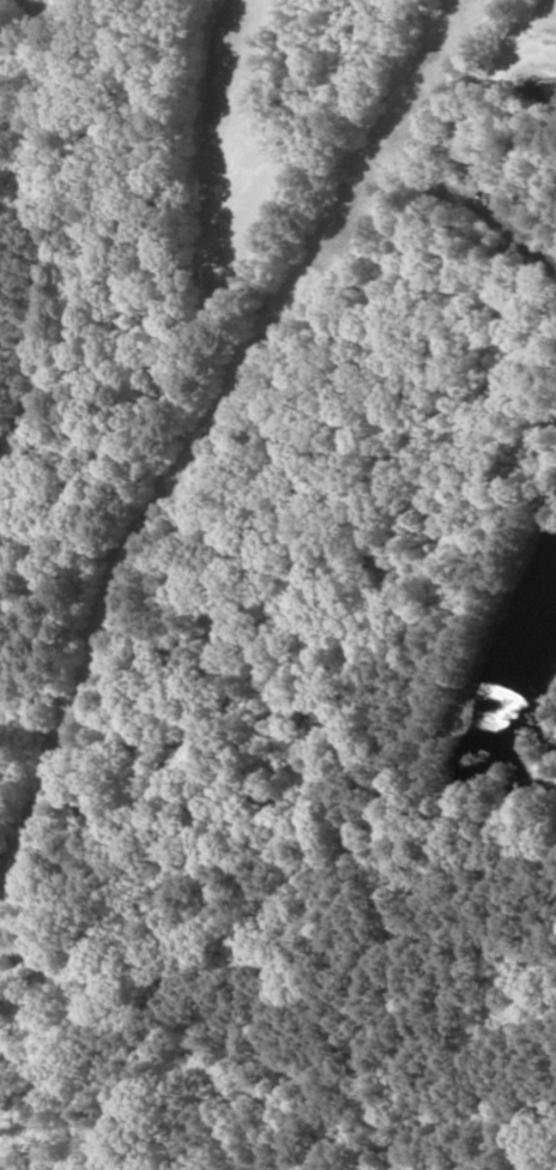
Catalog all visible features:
building: (490, 165)
building: (514, 176)
road: (526, 236)

